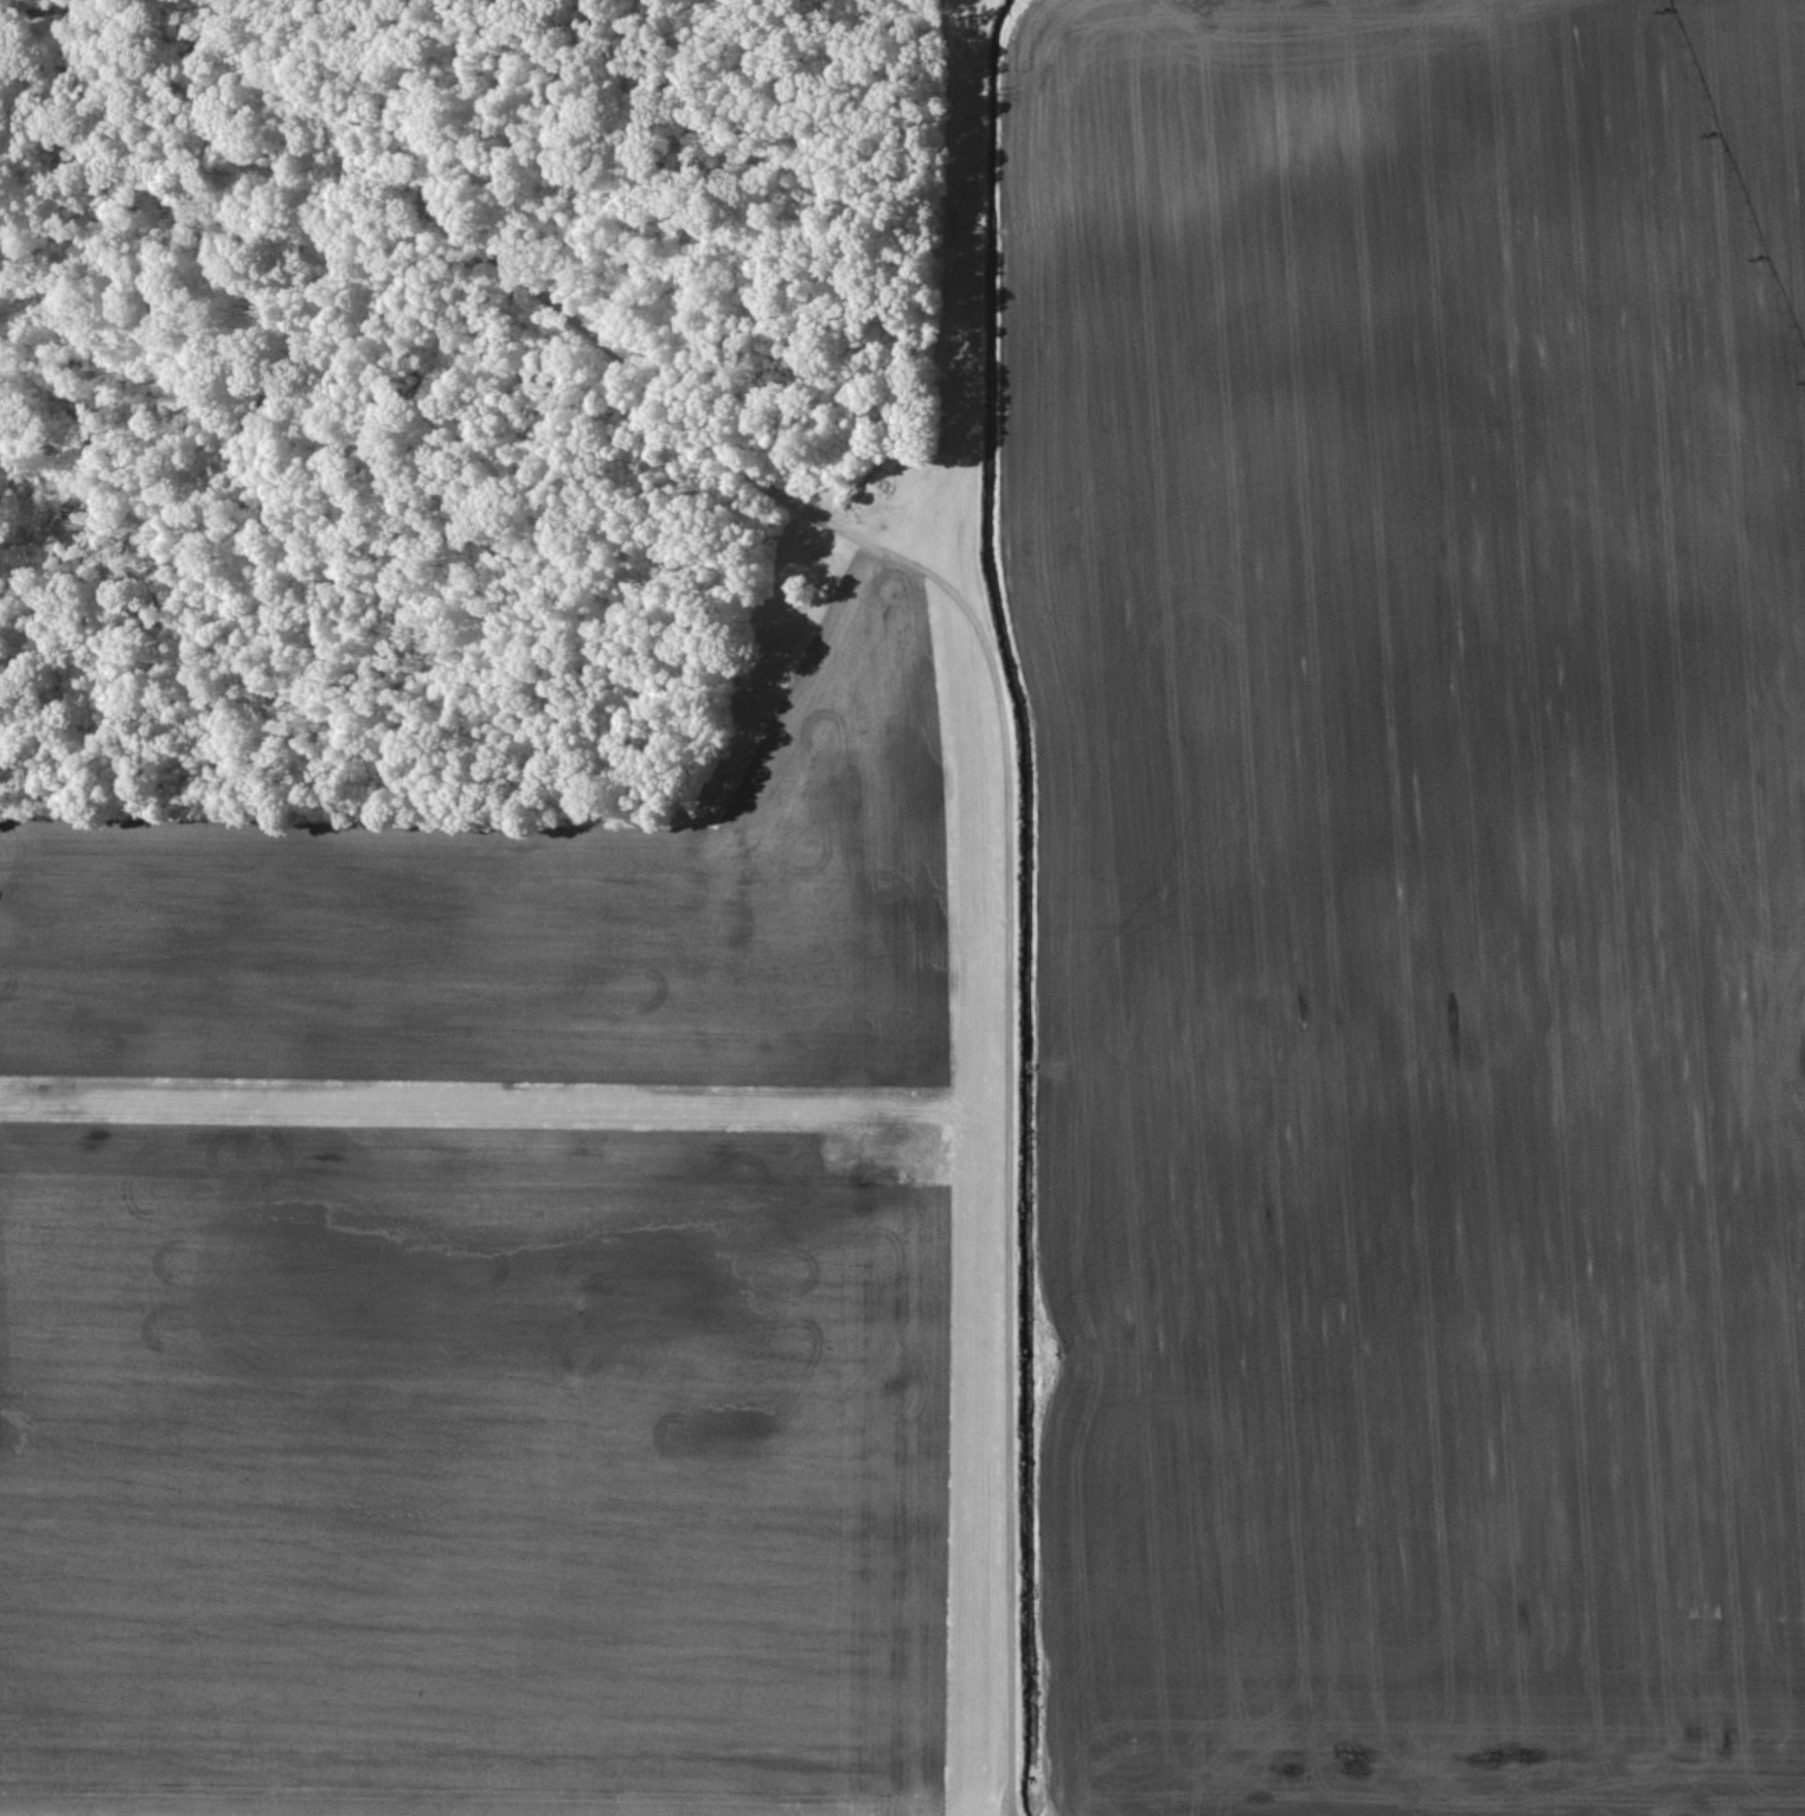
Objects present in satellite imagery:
road: (58, 23)
road: (1011, 745)

